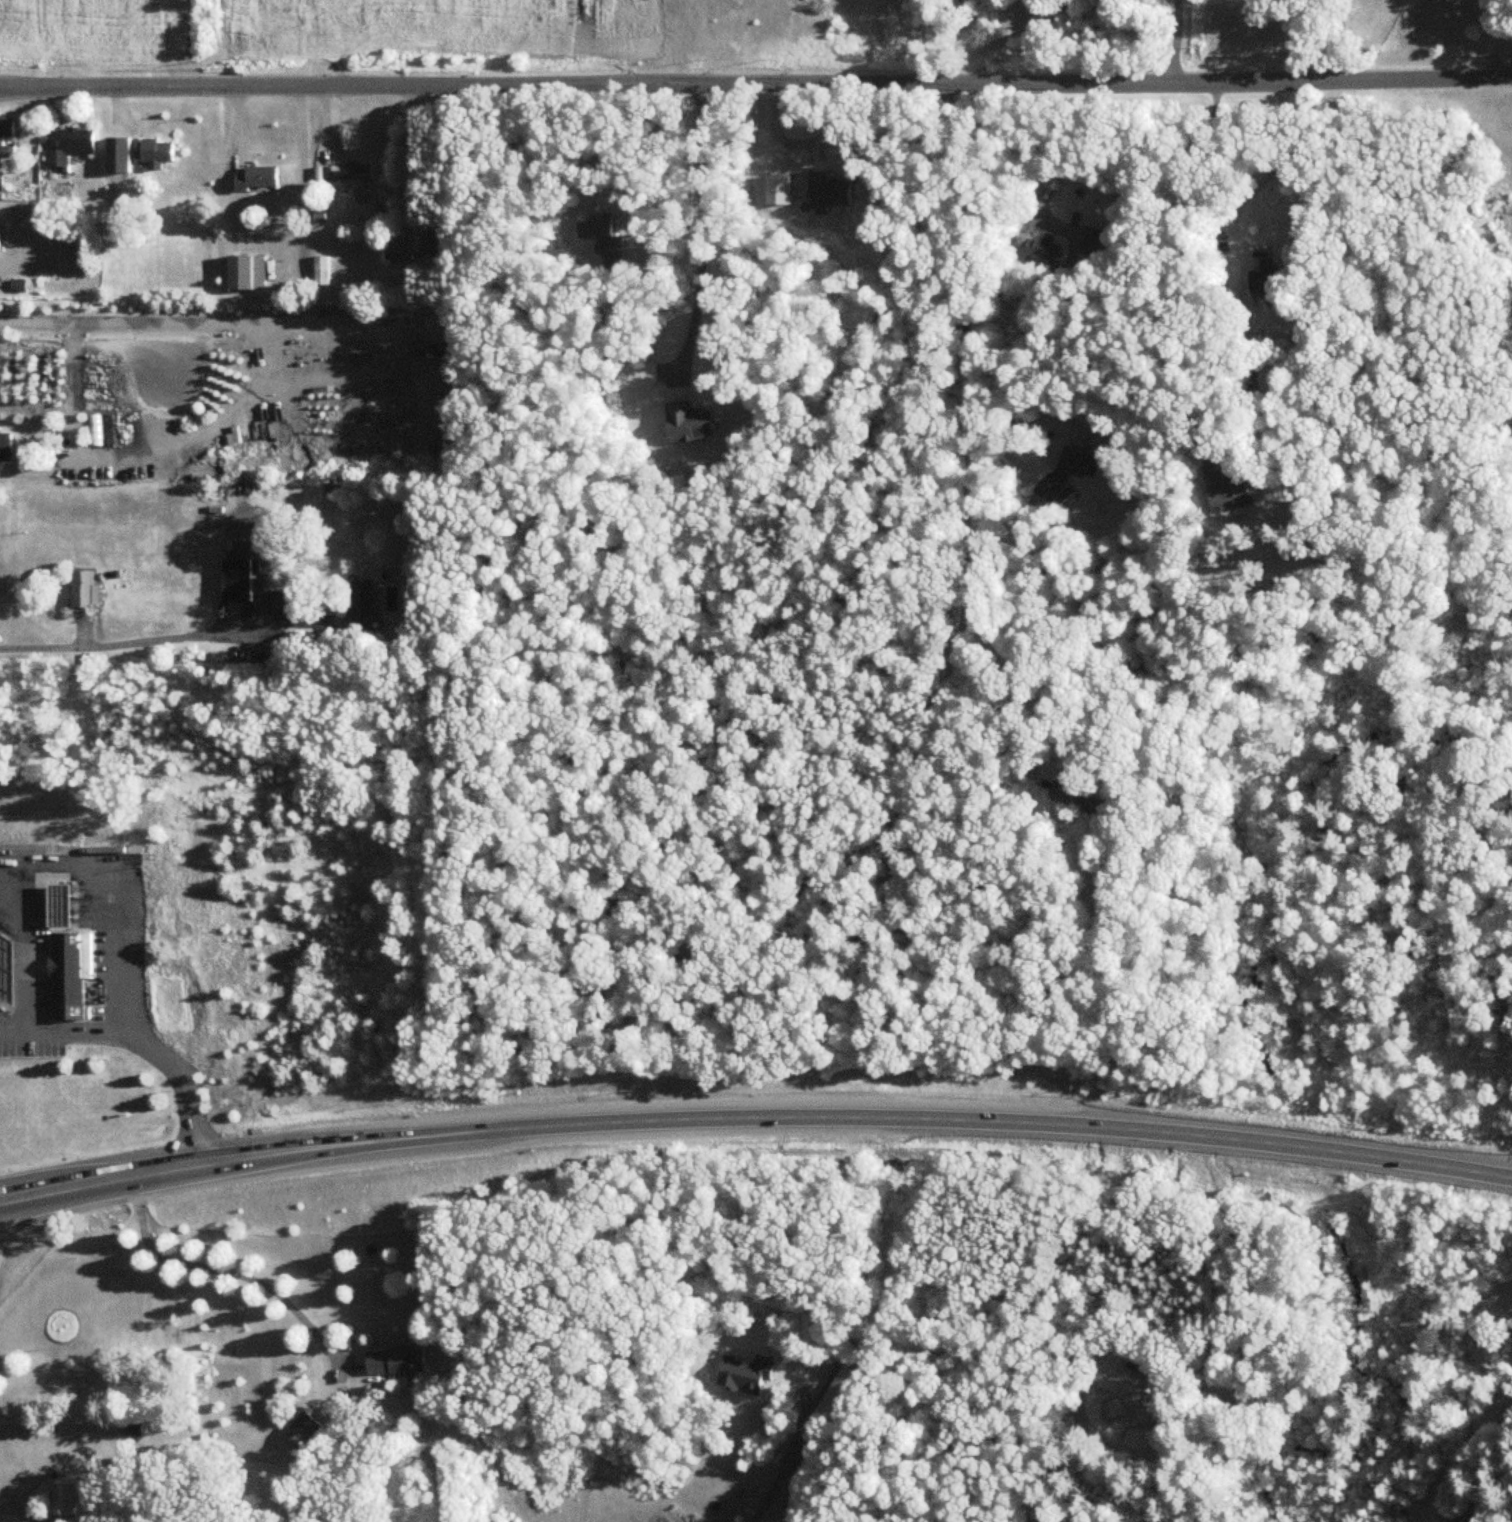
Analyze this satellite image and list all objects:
road: (1487, 23)
road: (1339, 40)
road: (1174, 42)
road: (1500, 45)
road: (981, 47)
road: (1488, 62)
road: (756, 88)
building: (2, 142)
building: (73, 147)
building: (117, 148)
building: (157, 152)
road: (994, 155)
building: (344, 173)
road: (1271, 173)
road: (662, 175)
building: (263, 178)
road: (698, 228)
building: (0, 239)
building: (1094, 242)
building: (423, 248)
building: (1047, 250)
road: (1175, 267)
building: (322, 272)
building: (247, 274)
building: (1267, 280)
road: (962, 303)
road: (35, 323)
building: (304, 354)
building: (1276, 380)
road: (211, 426)
building: (102, 431)
building: (6, 449)
building: (1121, 451)
building: (1070, 475)
building: (1233, 492)
building: (238, 582)
building: (85, 590)
building: (280, 603)
building: (362, 607)
road: (119, 644)
building: (1080, 801)
building: (62, 905)
road: (50, 945)
road: (122, 953)
building: (8, 969)
building: (73, 983)
road: (181, 1088)
road: (852, 1119)
road: (96, 1181)
road: (225, 1270)
building: (399, 1361)
building: (304, 1431)
road: (778, 1473)
building: (66, 1500)

